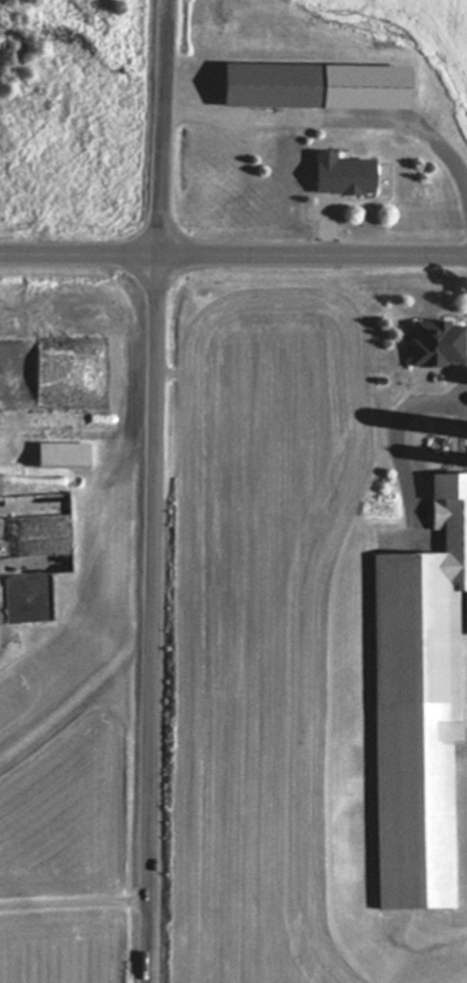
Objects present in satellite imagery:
building: (310, 87)
road: (333, 120)
building: (337, 176)
road: (331, 234)
road: (233, 256)
building: (432, 346)
building: (459, 437)
road: (393, 438)
building: (58, 456)
road: (157, 491)
road: (433, 734)

